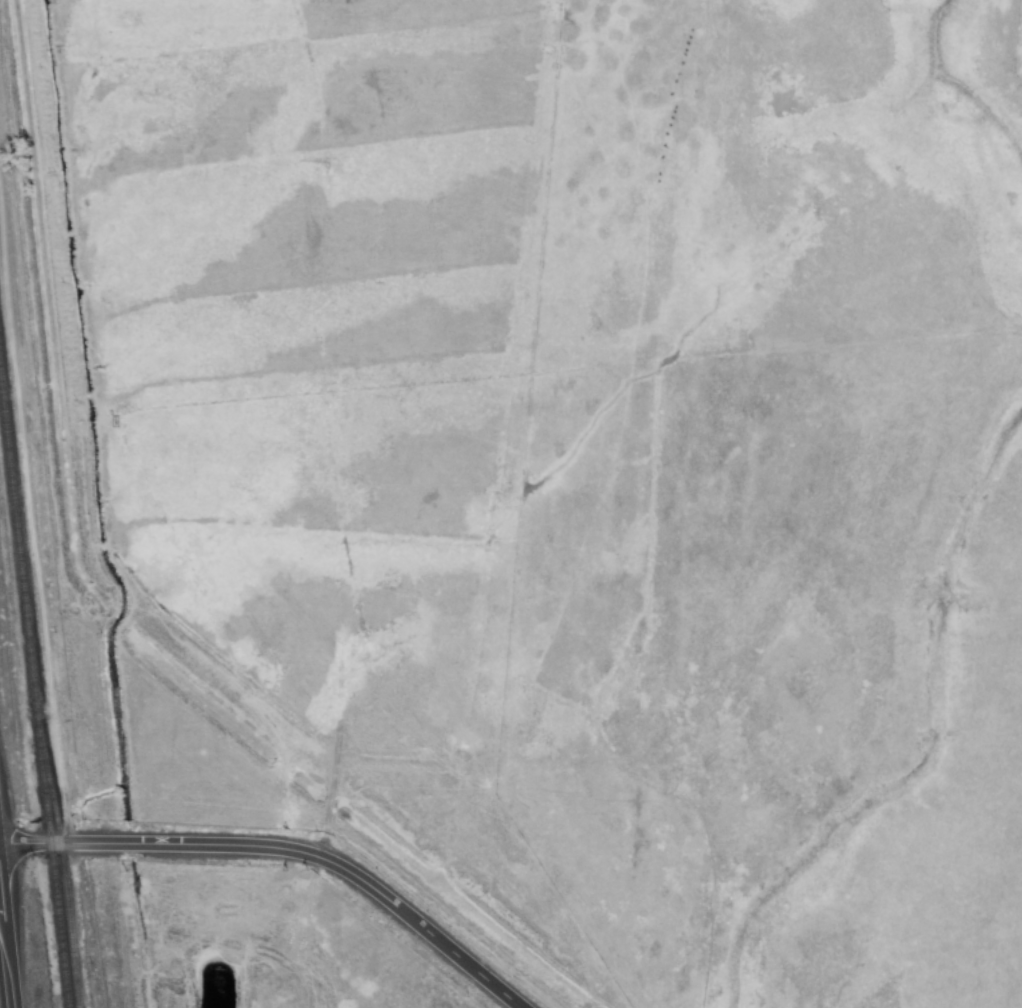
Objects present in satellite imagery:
railway: (31, 672)
road: (282, 850)
railway: (60, 861)
wastewater plant: (204, 982)
road: (2, 983)

